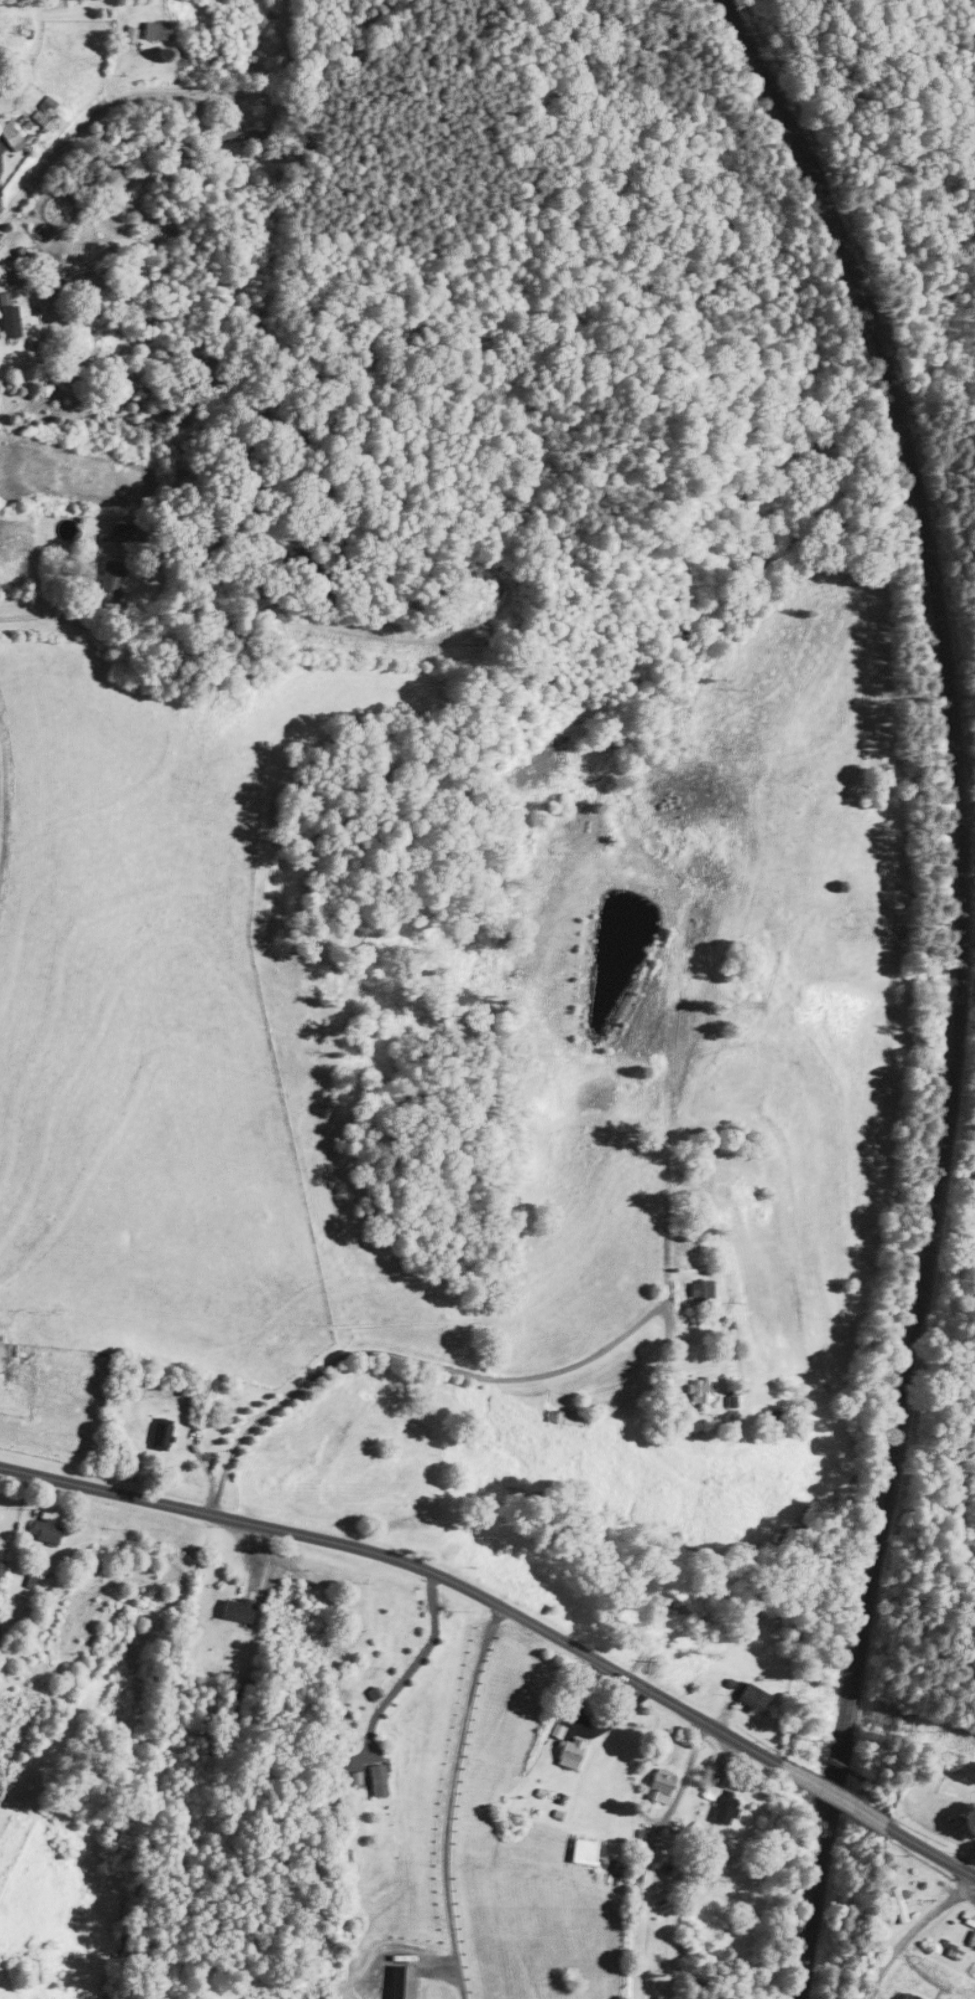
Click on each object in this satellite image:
building: (44, 114)
road: (96, 116)
building: (12, 136)
building: (241, 136)
building: (9, 319)
building: (125, 532)
building: (110, 581)
road: (44, 612)
building: (238, 634)
railway: (956, 985)
building: (747, 999)
building: (701, 1290)
building: (1, 1350)
road: (453, 1370)
building: (704, 1392)
building: (733, 1402)
building: (568, 1418)
building: (163, 1434)
building: (268, 1452)
building: (46, 1532)
road: (411, 1562)
building: (1, 1570)
building: (239, 1611)
road: (414, 1663)
building: (756, 1700)
building: (573, 1754)
road: (685, 1775)
building: (380, 1781)
building: (661, 1788)
road: (833, 1795)
road: (451, 1799)
building: (722, 1804)
road: (930, 1849)
building: (587, 1852)
building: (345, 1858)
building: (641, 1863)
building: (901, 1905)
road: (914, 1932)
building: (973, 1939)
building: (955, 1953)
building: (911, 1996)

